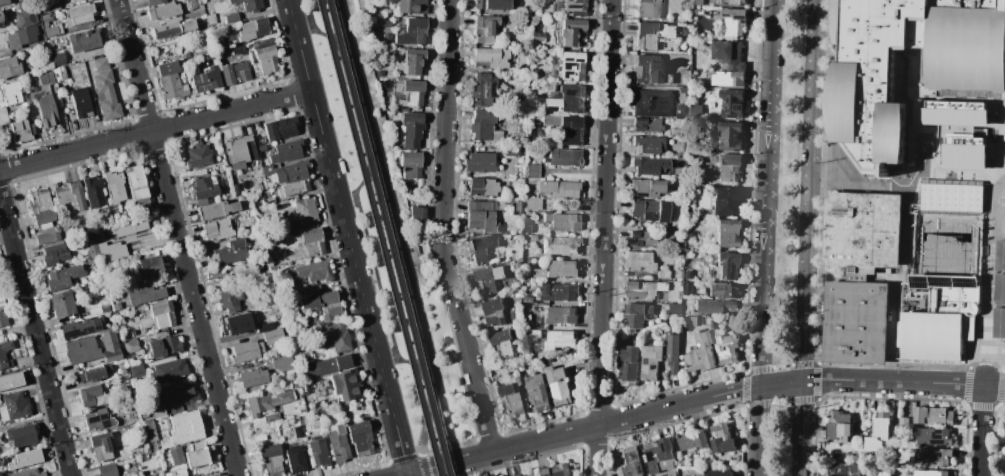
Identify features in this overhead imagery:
building: (63, 0)
building: (3, 2)
building: (155, 2)
building: (699, 2)
building: (737, 2)
building: (249, 4)
building: (493, 4)
building: (198, 5)
building: (53, 6)
building: (412, 6)
building: (574, 8)
building: (651, 8)
building: (164, 10)
building: (698, 11)
building: (79, 13)
building: (25, 18)
building: (211, 19)
building: (531, 21)
building: (386, 22)
building: (735, 22)
road: (304, 25)
building: (254, 28)
building: (173, 29)
building: (485, 29)
building: (52, 31)
building: (414, 31)
building: (572, 33)
building: (653, 33)
building: (21, 36)
building: (537, 36)
building: (81, 41)
building: (28, 50)
building: (238, 50)
building: (525, 52)
building: (728, 54)
building: (187, 55)
building: (58, 58)
building: (491, 58)
building: (267, 59)
building: (415, 62)
building: (101, 63)
building: (573, 66)
building: (9, 67)
building: (395, 68)
building: (649, 68)
building: (242, 71)
building: (227, 73)
building: (523, 77)
building: (47, 78)
building: (668, 78)
building: (728, 78)
building: (206, 79)
building: (171, 81)
building: (413, 85)
building: (483, 88)
building: (684, 89)
building: (708, 89)
building: (863, 89)
building: (11, 93)
building: (106, 95)
building: (567, 99)
building: (81, 102)
building: (653, 103)
building: (732, 105)
building: (697, 109)
building: (47, 110)
building: (955, 116)
building: (647, 125)
building: (485, 127)
building: (280, 128)
building: (568, 129)
road: (155, 130)
building: (21, 131)
building: (411, 131)
building: (674, 131)
building: (731, 136)
building: (648, 143)
building: (240, 151)
building: (287, 151)
building: (511, 151)
building: (198, 155)
building: (562, 157)
building: (964, 157)
building: (730, 158)
building: (480, 162)
building: (254, 163)
building: (410, 163)
building: (649, 165)
building: (268, 168)
building: (531, 170)
road: (968, 170)
building: (291, 172)
road: (375, 173)
building: (729, 173)
building: (137, 183)
road: (872, 185)
building: (114, 187)
building: (483, 187)
building: (647, 187)
building: (205, 188)
building: (291, 188)
building: (236, 189)
building: (557, 189)
road: (356, 190)
building: (94, 191)
building: (71, 194)
road: (1004, 195)
road: (347, 197)
building: (952, 198)
building: (268, 201)
building: (726, 201)
building: (533, 204)
building: (42, 206)
building: (517, 206)
building: (218, 210)
building: (650, 210)
building: (306, 211)
park: (380, 213)
building: (528, 214)
building: (481, 217)
building: (418, 221)
building: (565, 222)
building: (129, 228)
road: (443, 228)
building: (528, 228)
building: (217, 229)
building: (863, 230)
building: (728, 233)
road: (399, 234)
building: (48, 235)
building: (293, 235)
road: (763, 237)
road: (805, 237)
road: (905, 237)
road: (177, 238)
road: (347, 238)
railway: (379, 238)
railway: (387, 238)
road: (603, 238)
building: (642, 239)
building: (313, 242)
building: (562, 245)
building: (92, 248)
building: (481, 248)
building: (113, 251)
building: (230, 252)
building: (55, 254)
building: (517, 255)
building: (999, 255)
building: (640, 260)
building: (725, 263)
building: (151, 266)
building: (517, 266)
building: (563, 268)
building: (245, 270)
building: (315, 270)
building: (219, 273)
building: (663, 274)
building: (688, 274)
building: (62, 277)
building: (486, 281)
building: (0, 282)
building: (680, 284)
road: (428, 288)
building: (688, 288)
building: (999, 288)
building: (723, 289)
building: (308, 290)
building: (643, 290)
building: (560, 292)
building: (517, 294)
building: (146, 295)
building: (230, 298)
building: (528, 299)
road: (986, 300)
building: (2, 301)
building: (63, 304)
building: (323, 304)
building: (117, 306)
building: (712, 306)
building: (159, 307)
building: (673, 308)
building: (105, 309)
building: (233, 309)
building: (493, 311)
building: (638, 314)
building: (562, 315)
building: (511, 316)
building: (527, 316)
building: (254, 317)
building: (938, 317)
building: (3, 318)
building: (855, 319)
building: (162, 321)
building: (689, 321)
building: (998, 322)
building: (238, 323)
building: (266, 326)
building: (80, 327)
building: (968, 328)
road: (892, 329)
building: (534, 334)
road: (35, 335)
building: (274, 335)
building: (335, 337)
building: (561, 339)
road: (445, 344)
building: (502, 344)
building: (164, 345)
building: (111, 346)
building: (132, 346)
building: (726, 346)
building: (260, 347)
building: (82, 350)
building: (244, 352)
building: (672, 352)
building: (701, 353)
building: (5, 354)
park: (446, 355)
road: (388, 358)
building: (283, 362)
building: (650, 362)
building: (328, 364)
building: (628, 366)
building: (136, 370)
building: (169, 370)
building: (89, 375)
building: (253, 377)
building: (11, 380)
building: (343, 385)
building: (559, 385)
building: (305, 388)
building: (537, 393)
building: (178, 394)
building: (89, 395)
road: (702, 398)
building: (512, 399)
building: (266, 402)
building: (14, 406)
building: (342, 407)
building: (158, 411)
building: (321, 412)
building: (933, 416)
building: (272, 417)
building: (99, 419)
building: (905, 421)
building: (839, 427)
building: (186, 428)
building: (150, 430)
road: (981, 430)
building: (297, 431)
building: (879, 433)
building: (20, 435)
building: (933, 436)
building: (360, 437)
building: (722, 439)
building: (693, 440)
building: (338, 444)
building: (101, 447)
building: (153, 447)
building: (318, 451)
building: (658, 453)
building: (176, 456)
building: (196, 456)
building: (933, 456)
building: (25, 458)
building: (296, 459)
building: (271, 460)
building: (628, 461)
building: (844, 469)
building: (108, 470)
building: (557, 470)
building: (28, 473)
building: (176, 473)
road: (425, 473)
building: (718, 473)
building: (934, 473)
building: (153, 474)
building: (527, 474)
building: (215, 475)
road: (403, 475)

